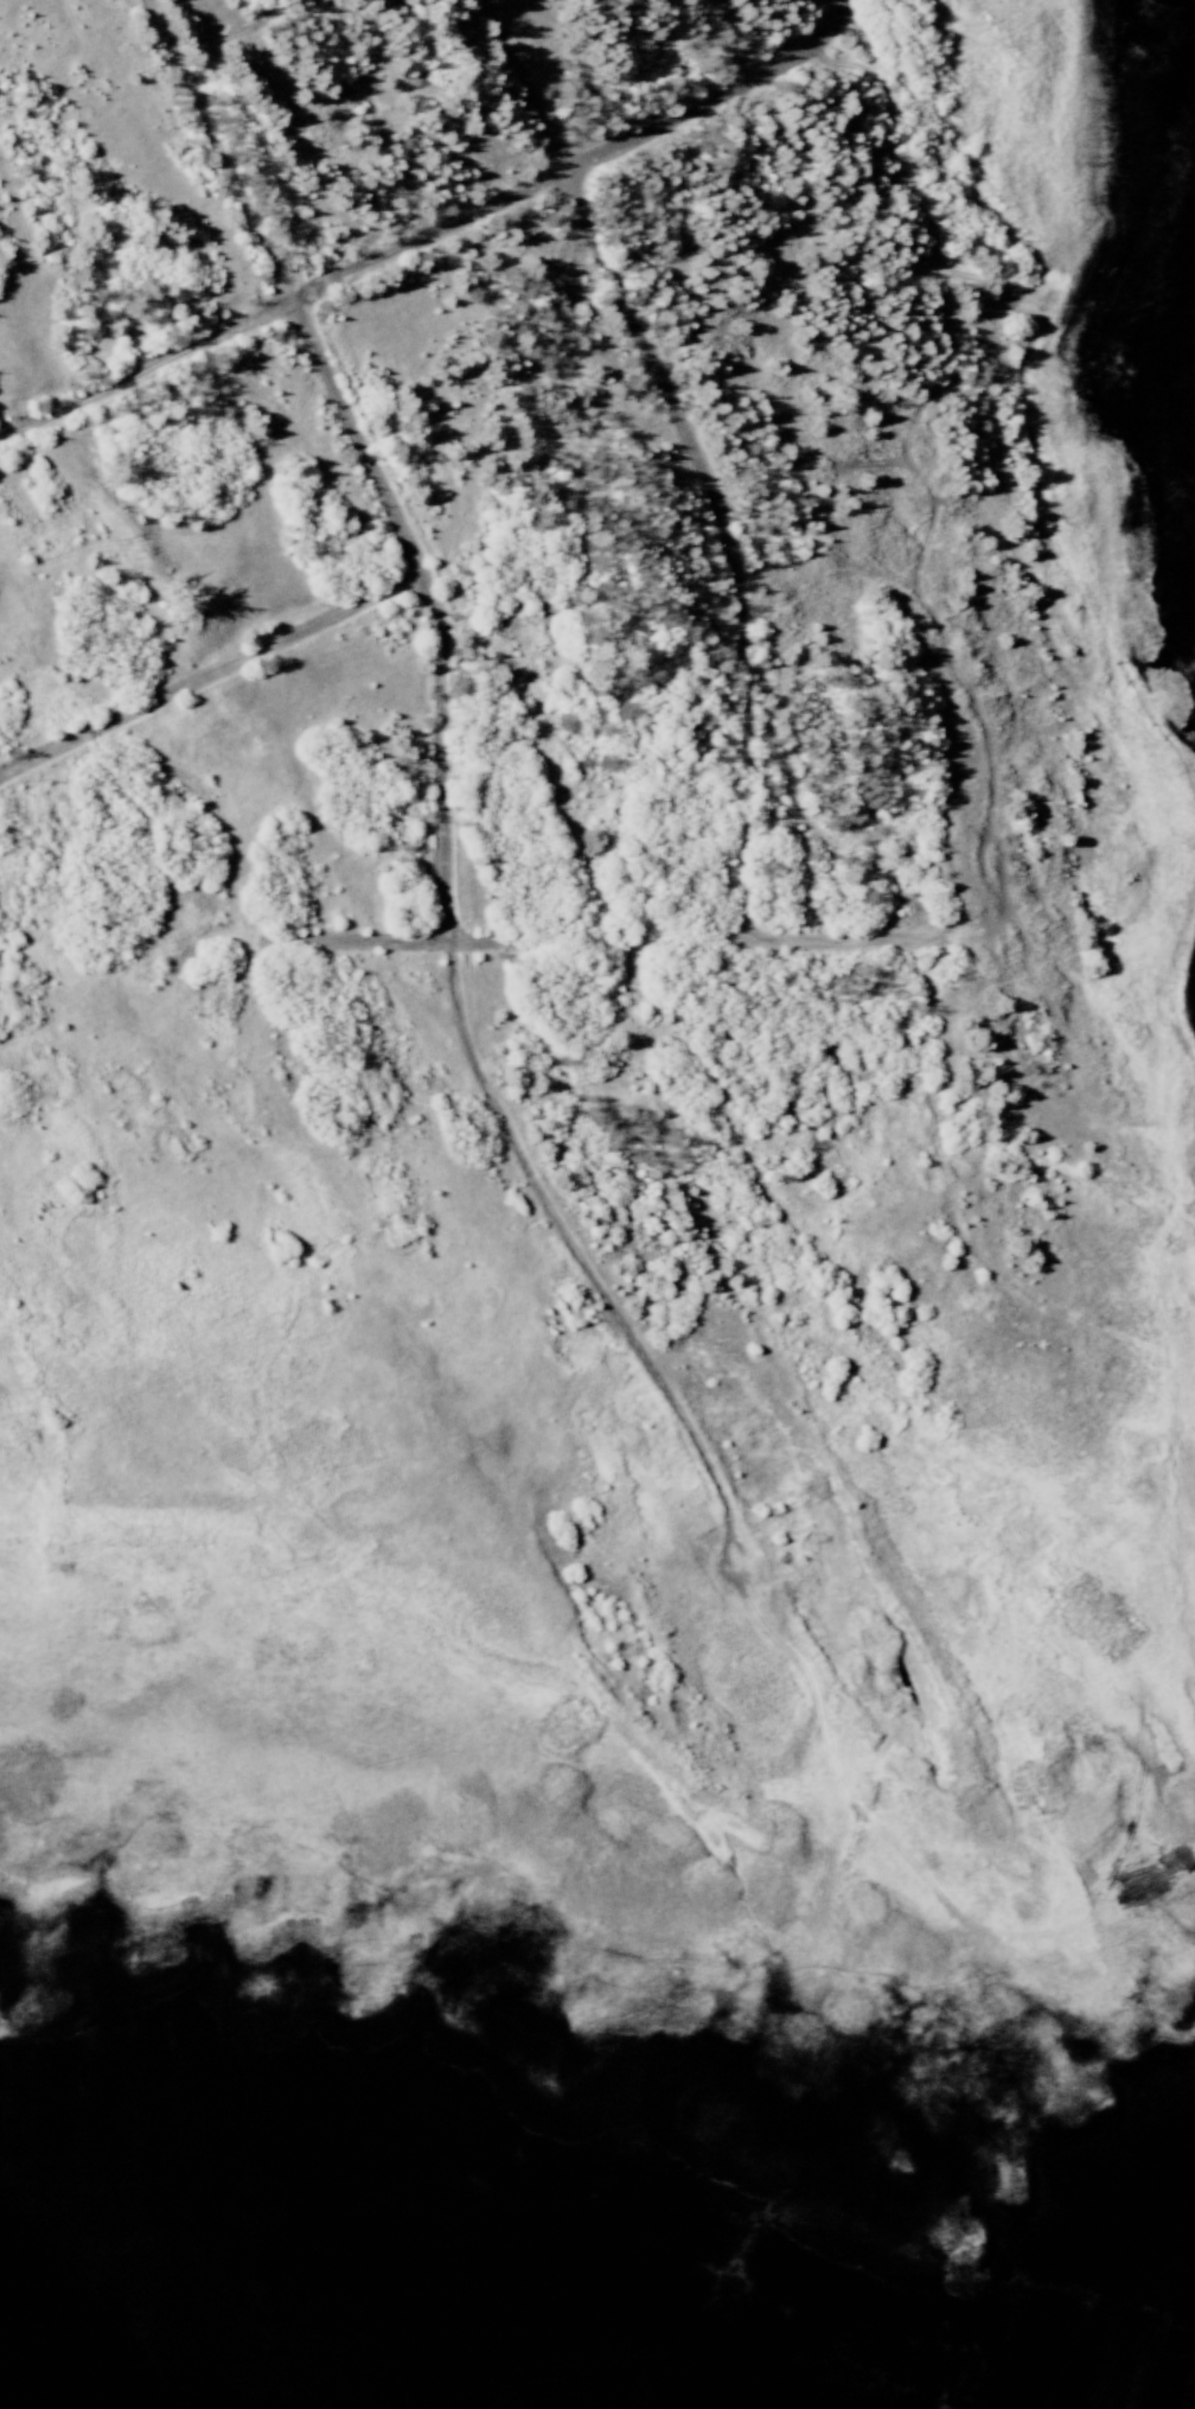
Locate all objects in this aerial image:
road: (849, 0)
road: (436, 238)
road: (692, 446)
road: (366, 453)
road: (212, 681)
road: (599, 938)
road: (354, 939)
road: (846, 939)
road: (580, 1257)

